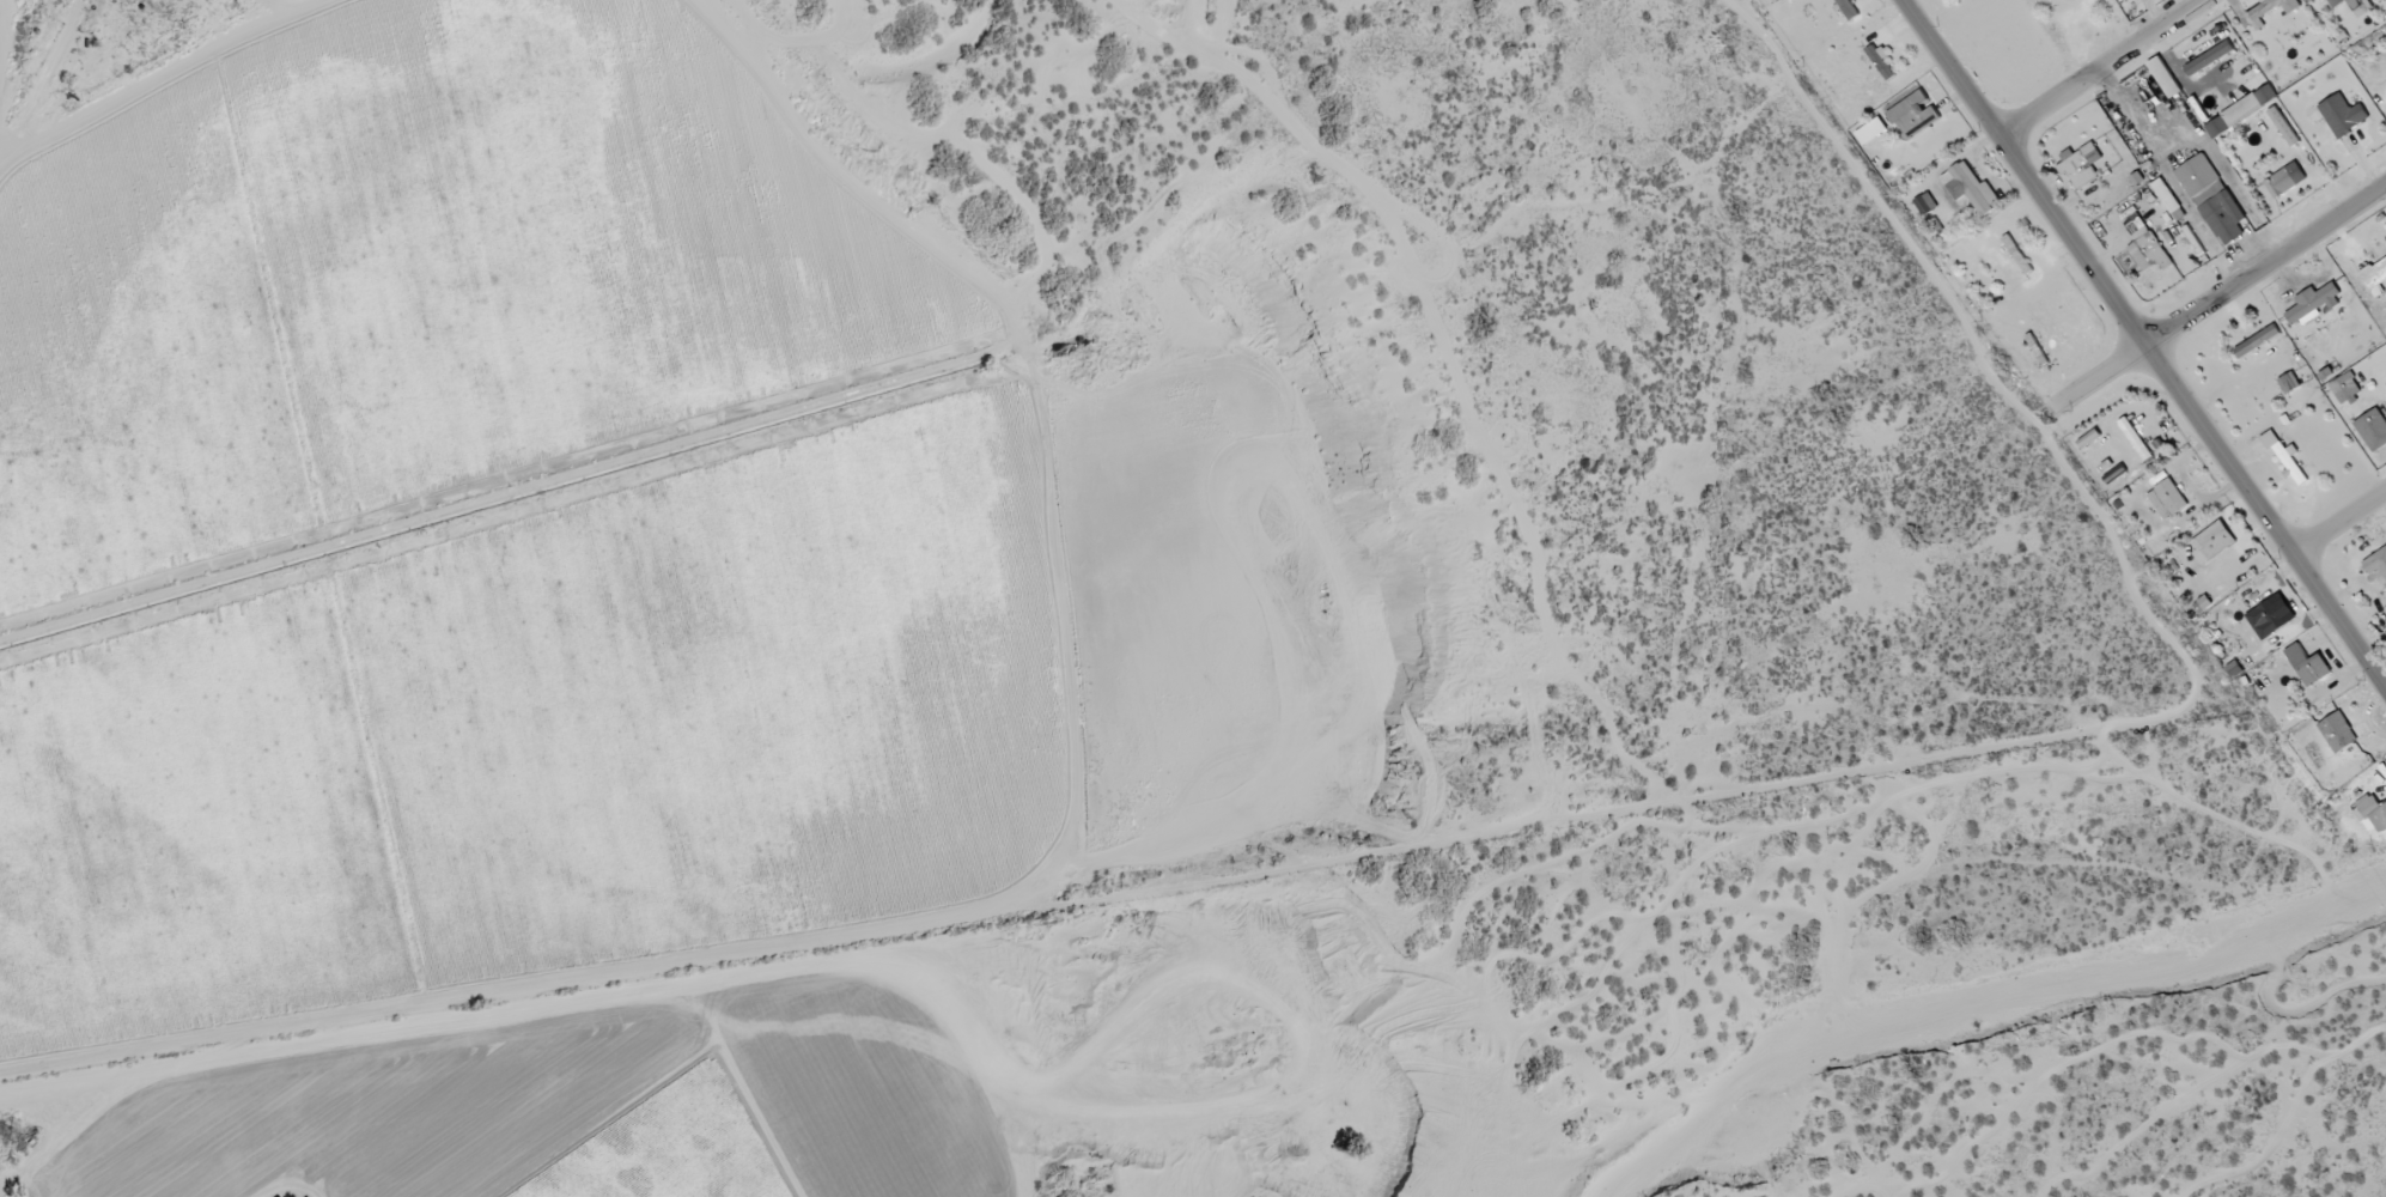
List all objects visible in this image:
building: (2125, 0)
building: (2336, 5)
building: (1846, 8)
building: (2269, 11)
road: (2081, 59)
building: (2208, 59)
building: (1879, 63)
building: (2165, 78)
building: (2240, 111)
building: (1913, 115)
building: (2342, 115)
building: (2080, 165)
building: (2198, 180)
building: (2284, 181)
building: (1970, 188)
building: (2166, 195)
building: (1925, 205)
building: (2226, 211)
building: (2144, 245)
road: (2217, 274)
building: (2375, 277)
building: (2312, 305)
building: (2256, 341)
road: (2145, 342)
building: (2288, 383)
building: (2345, 388)
building: (2372, 430)
building: (2088, 439)
building: (2135, 439)
building: (2282, 456)
building: (2167, 499)
road: (2336, 509)
building: (2211, 542)
building: (2376, 564)
building: (2271, 616)
building: (2313, 672)
building: (2337, 733)
building: (2370, 815)

